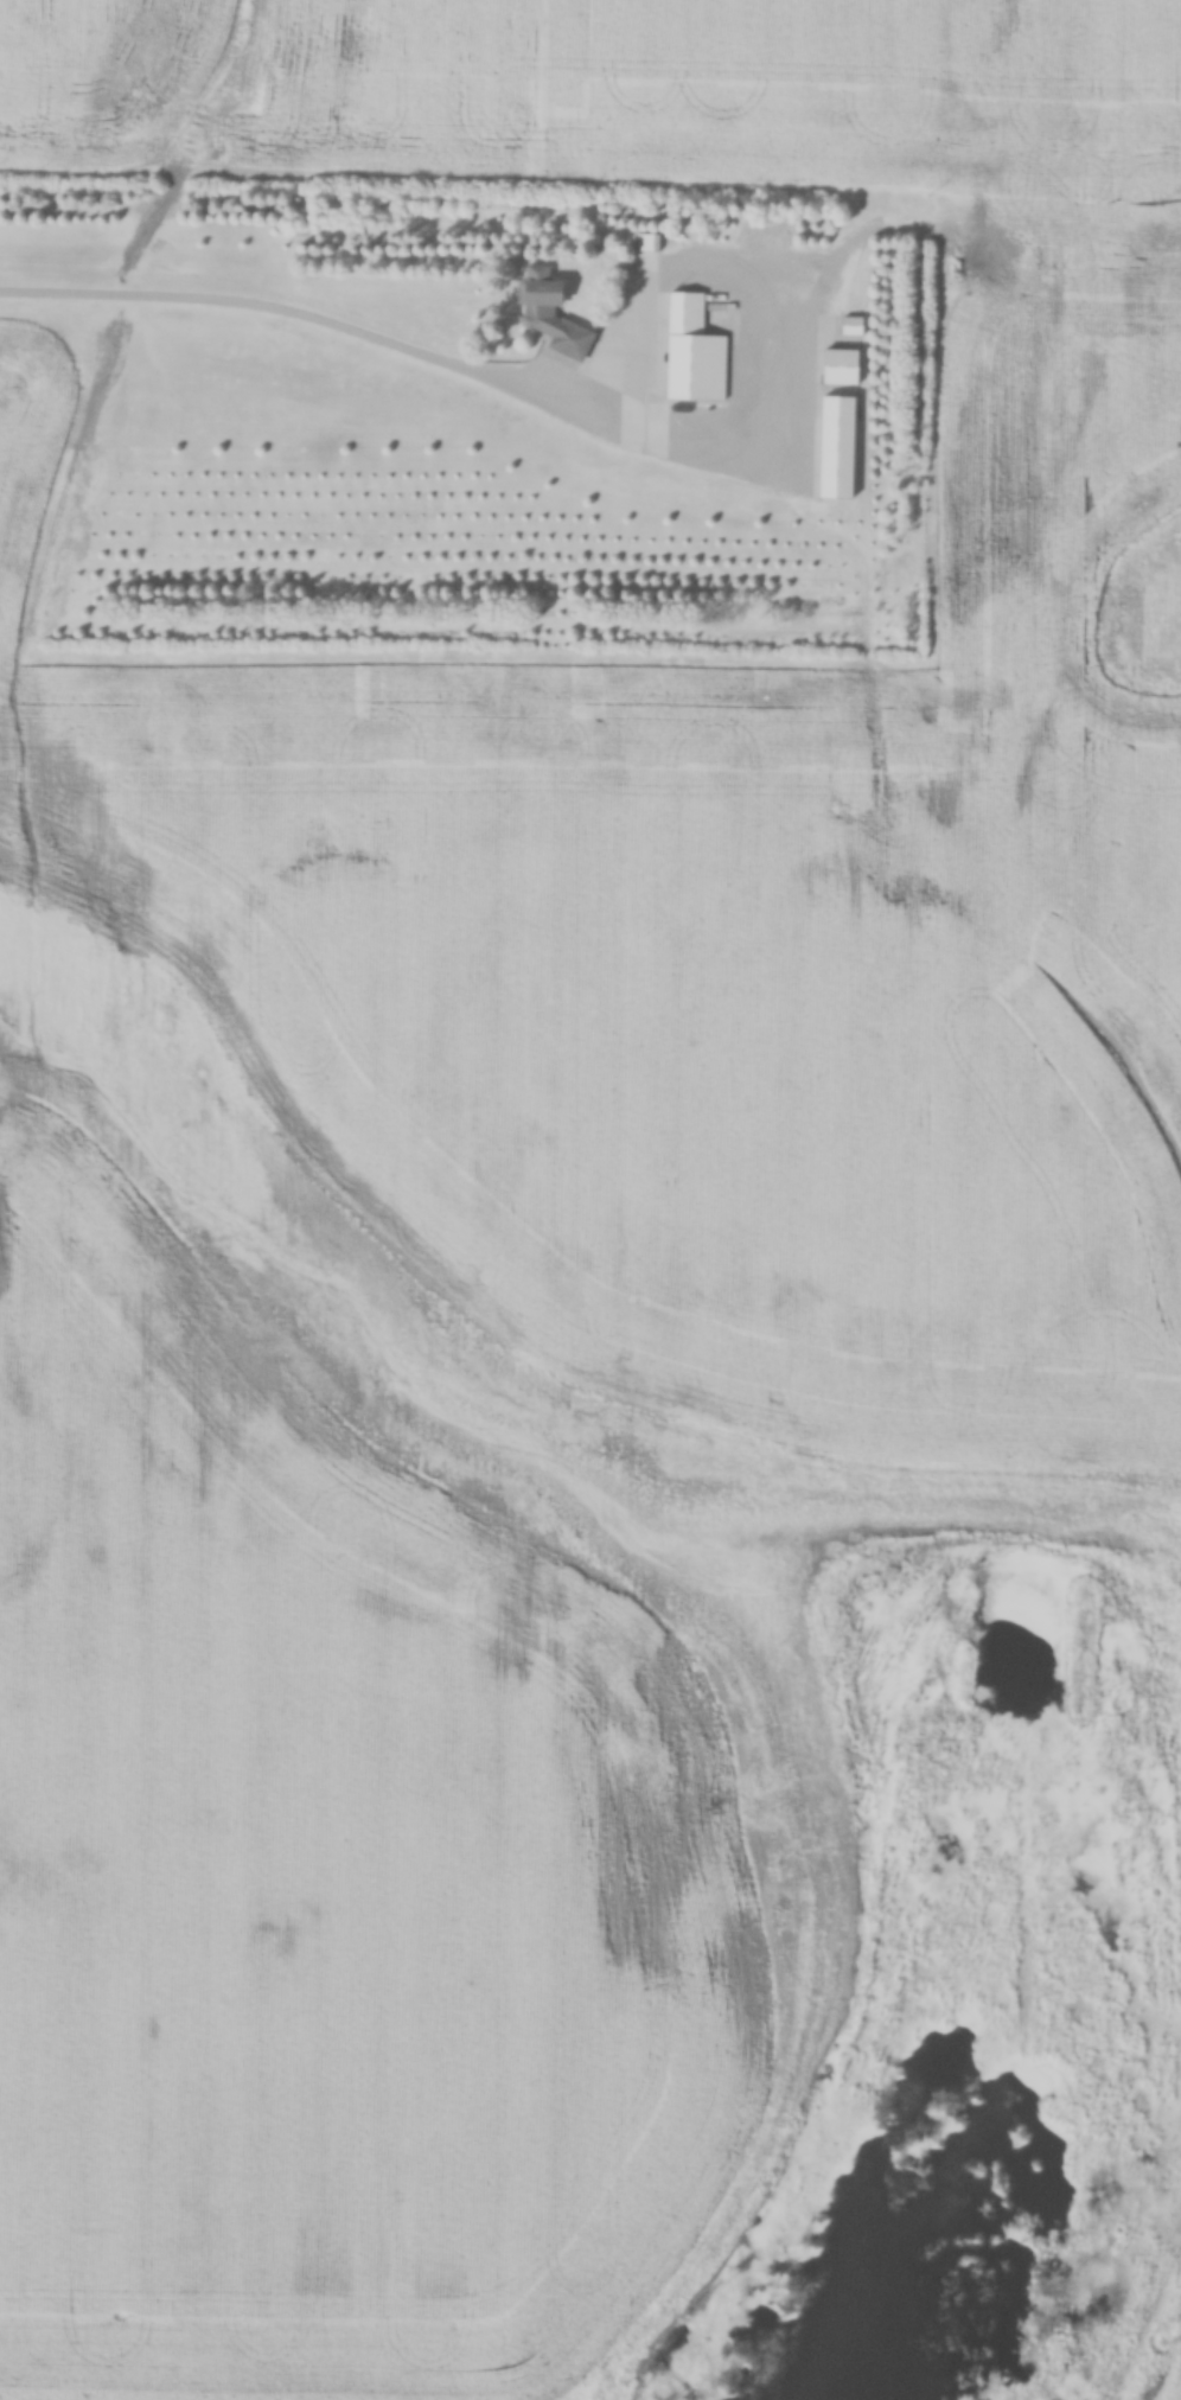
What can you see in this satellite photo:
road: (270, 307)
building: (553, 312)
building: (854, 326)
building: (700, 345)
building: (844, 368)
building: (840, 407)

